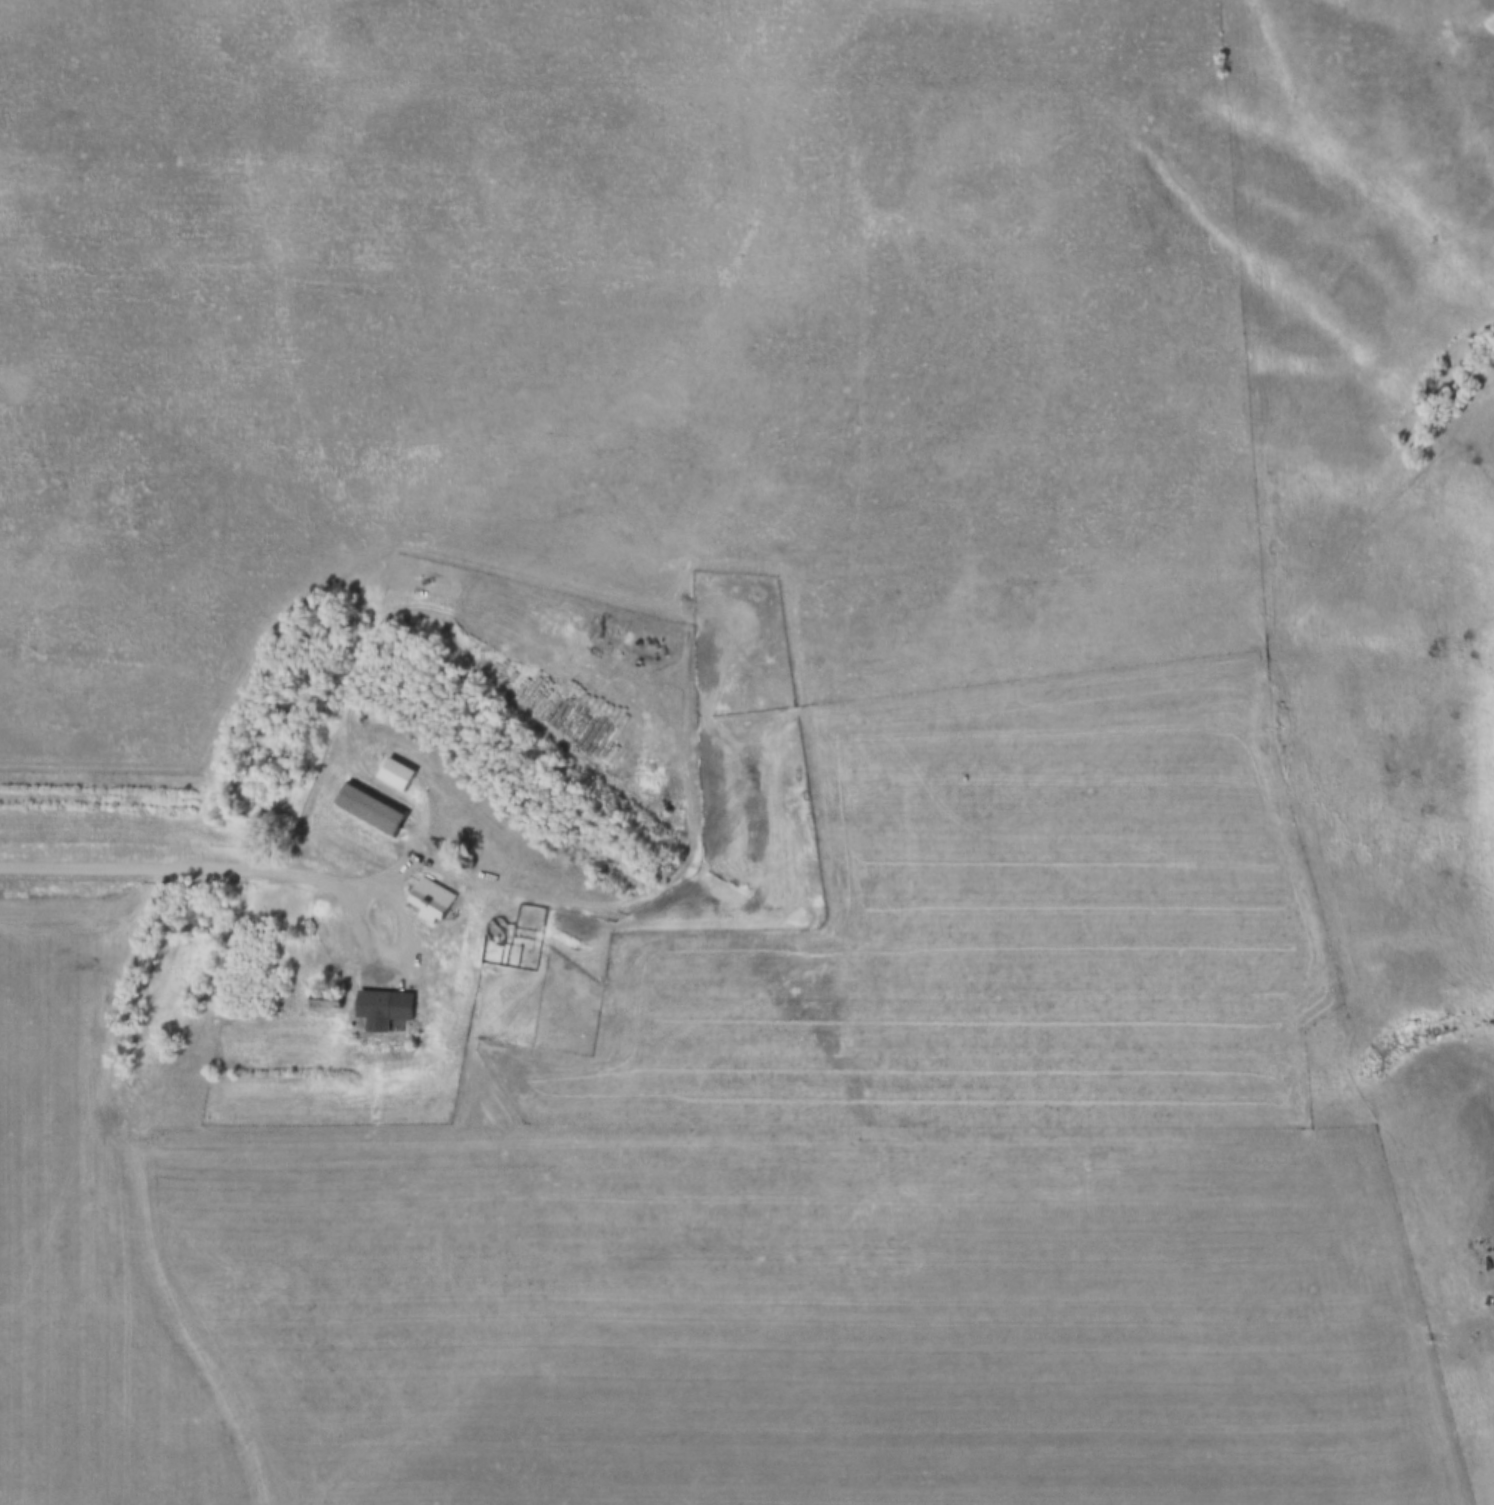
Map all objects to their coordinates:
building: (398, 775)
building: (372, 810)
road: (170, 866)
building: (433, 902)
road: (408, 949)
building: (327, 1001)
building: (387, 1006)

